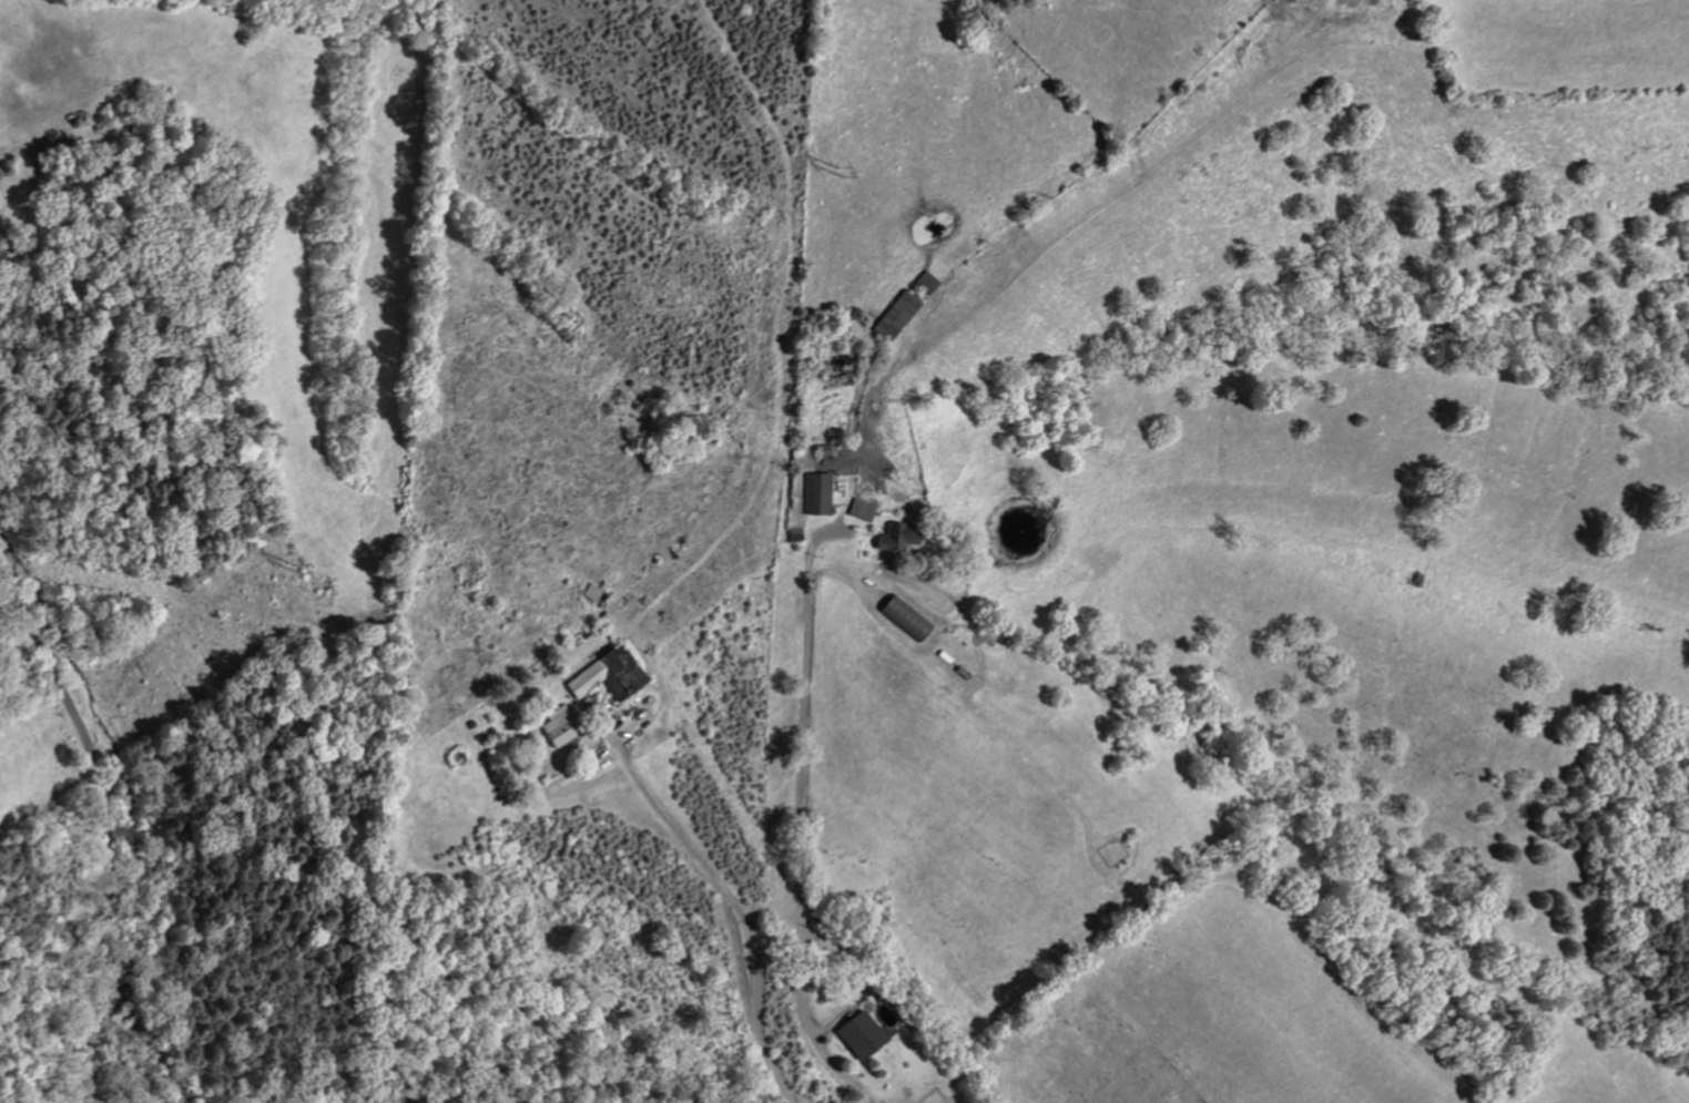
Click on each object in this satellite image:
building: (893, 315)
building: (804, 490)
building: (858, 509)
building: (894, 538)
building: (604, 675)
building: (554, 727)
road: (798, 817)
road: (108, 850)
building: (857, 1035)

